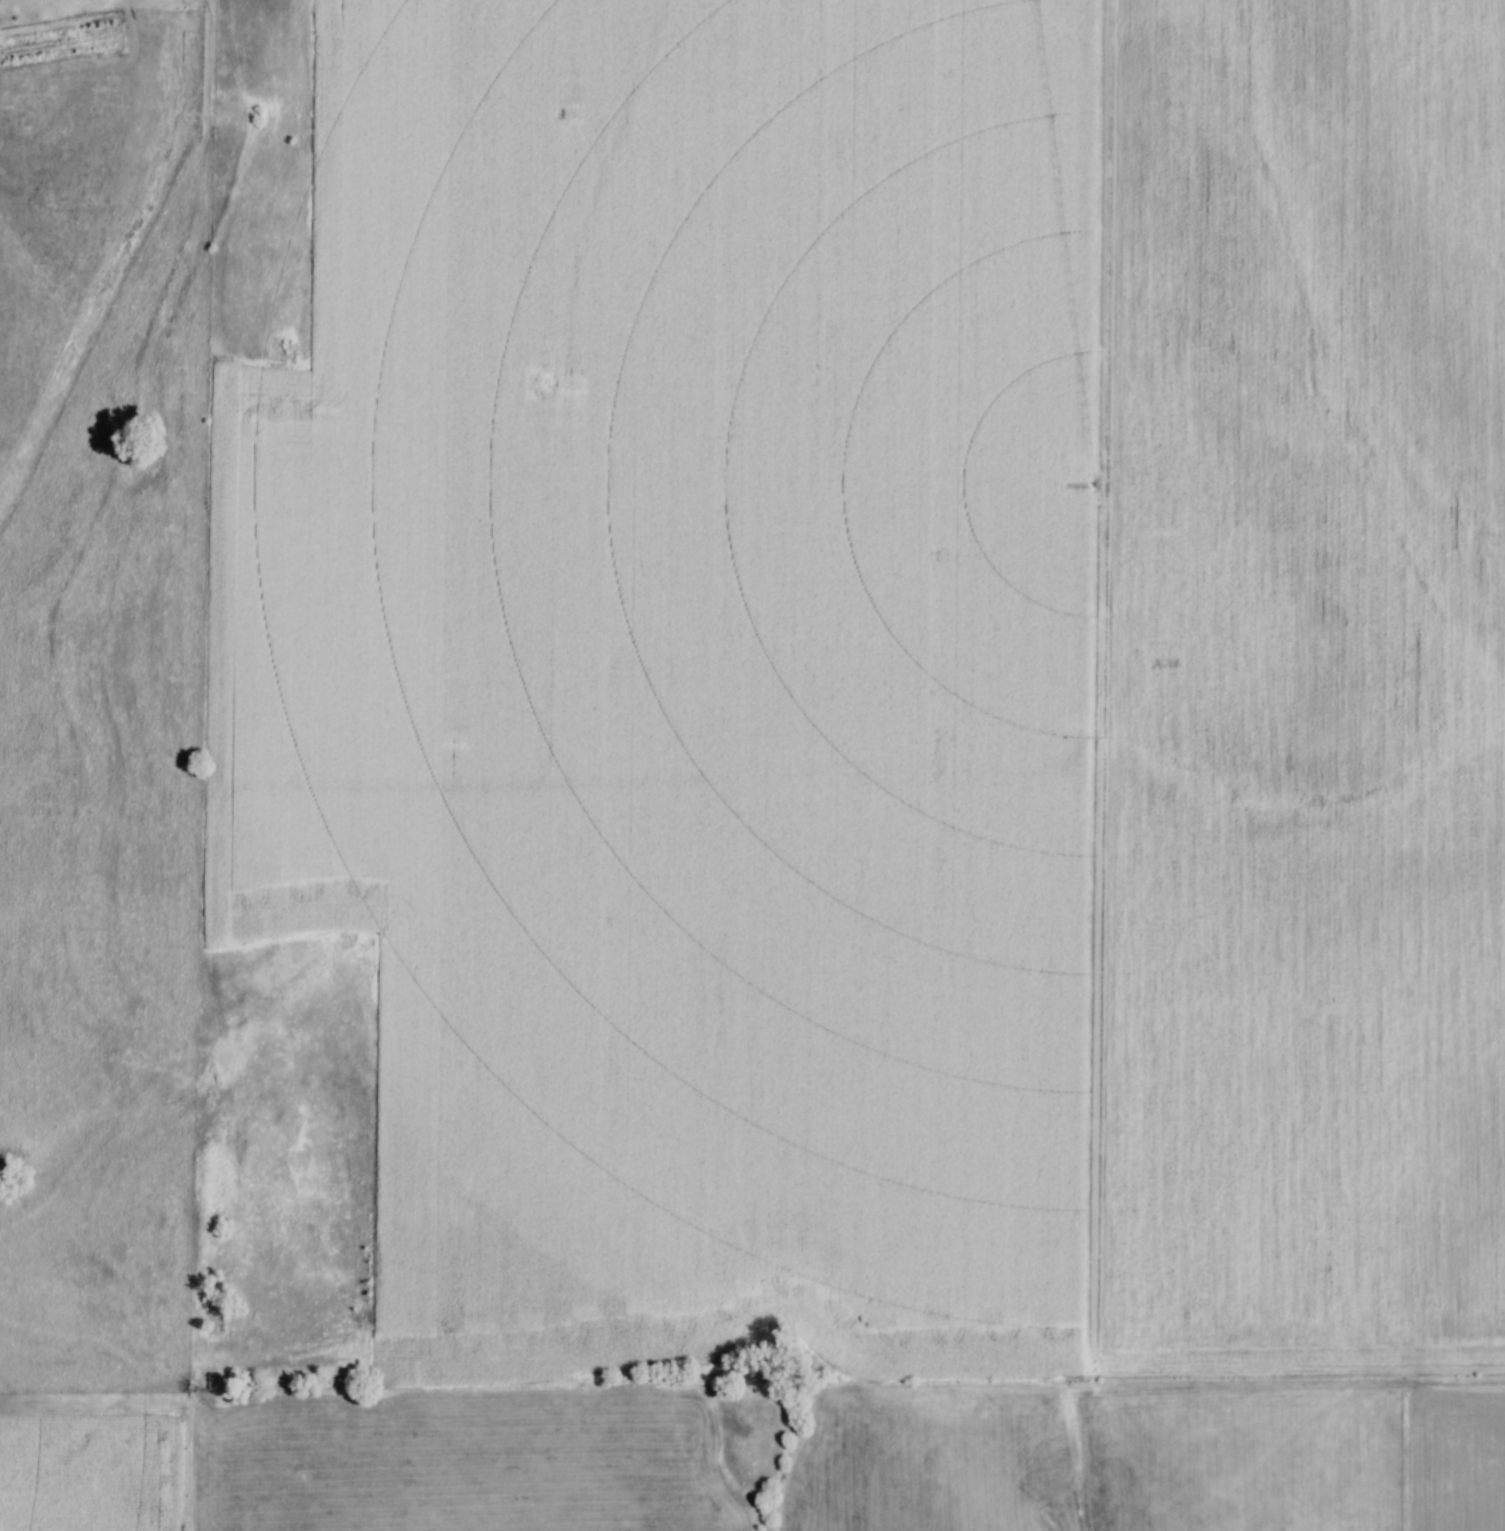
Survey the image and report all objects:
crop: (1300, 688)
crop: (1460, 1449)

